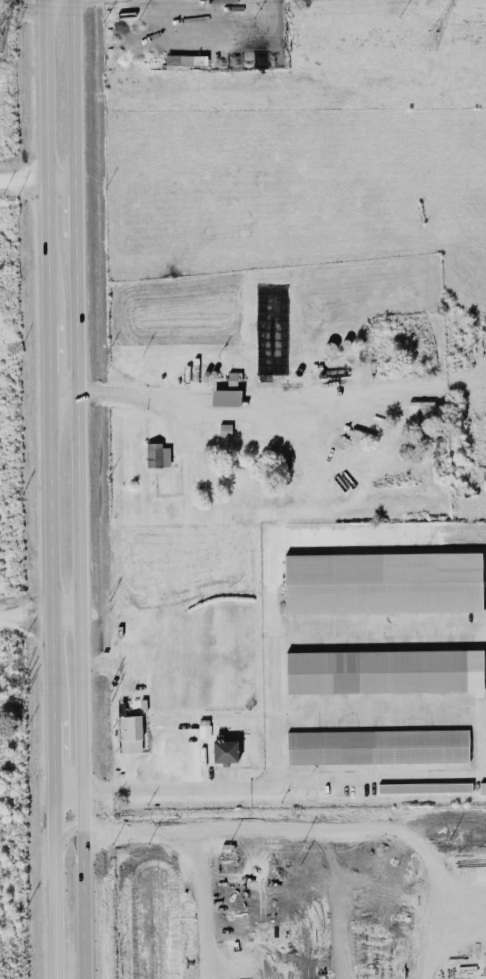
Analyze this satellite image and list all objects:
road: (204, 36)
power tower: (448, 39)
building: (179, 59)
road: (75, 90)
road: (47, 155)
road: (37, 180)
road: (76, 199)
road: (51, 351)
road: (215, 390)
building: (225, 397)
building: (225, 429)
building: (158, 454)
road: (53, 546)
building: (372, 584)
road: (81, 599)
road: (270, 631)
road: (115, 660)
building: (384, 671)
road: (55, 733)
building: (130, 733)
building: (377, 746)
building: (225, 751)
road: (172, 756)
road: (56, 777)
road: (284, 780)
road: (70, 787)
building: (424, 787)
building: (482, 787)
road: (230, 824)
road: (57, 883)
road: (338, 901)
road: (204, 902)
road: (416, 914)
road: (250, 959)
road: (243, 969)

